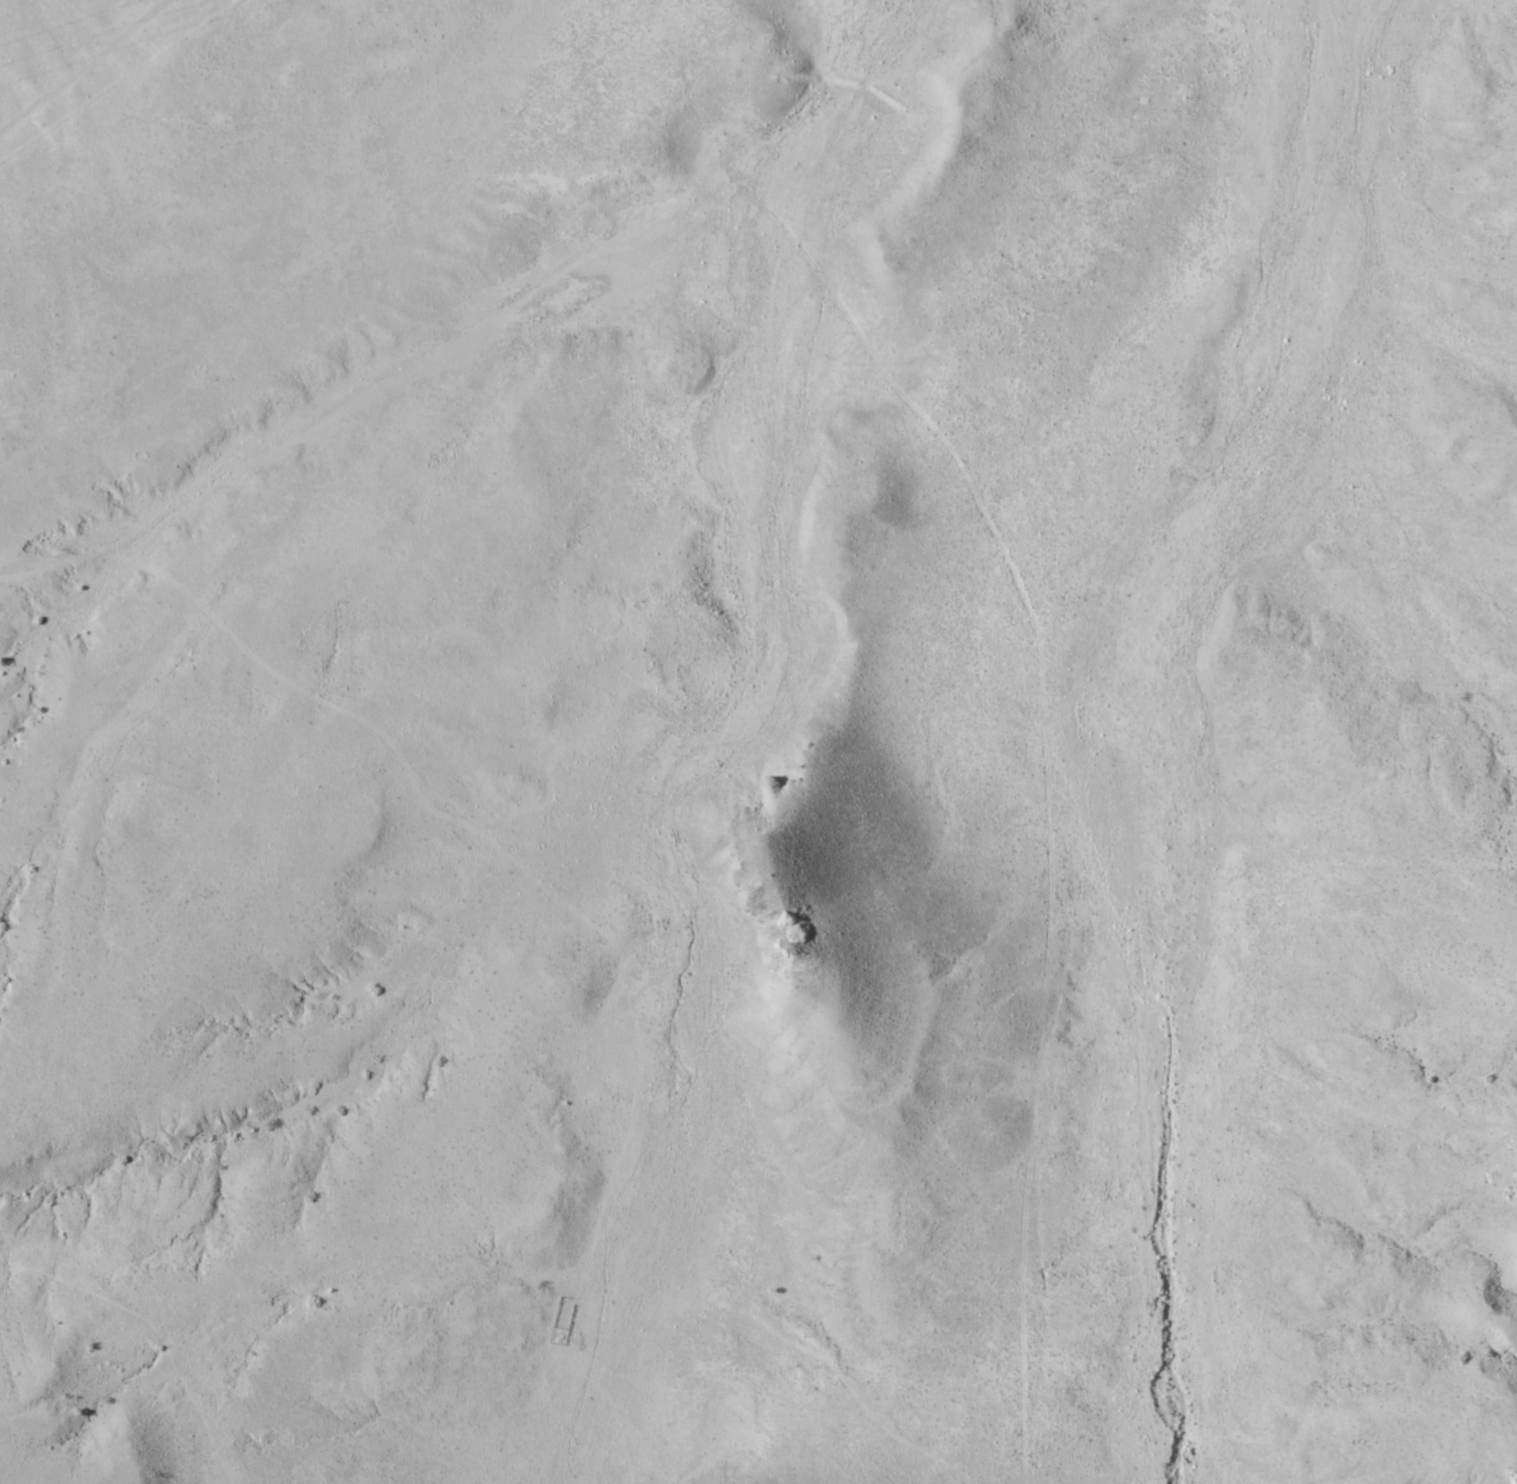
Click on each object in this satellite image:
road: (73, 61)

